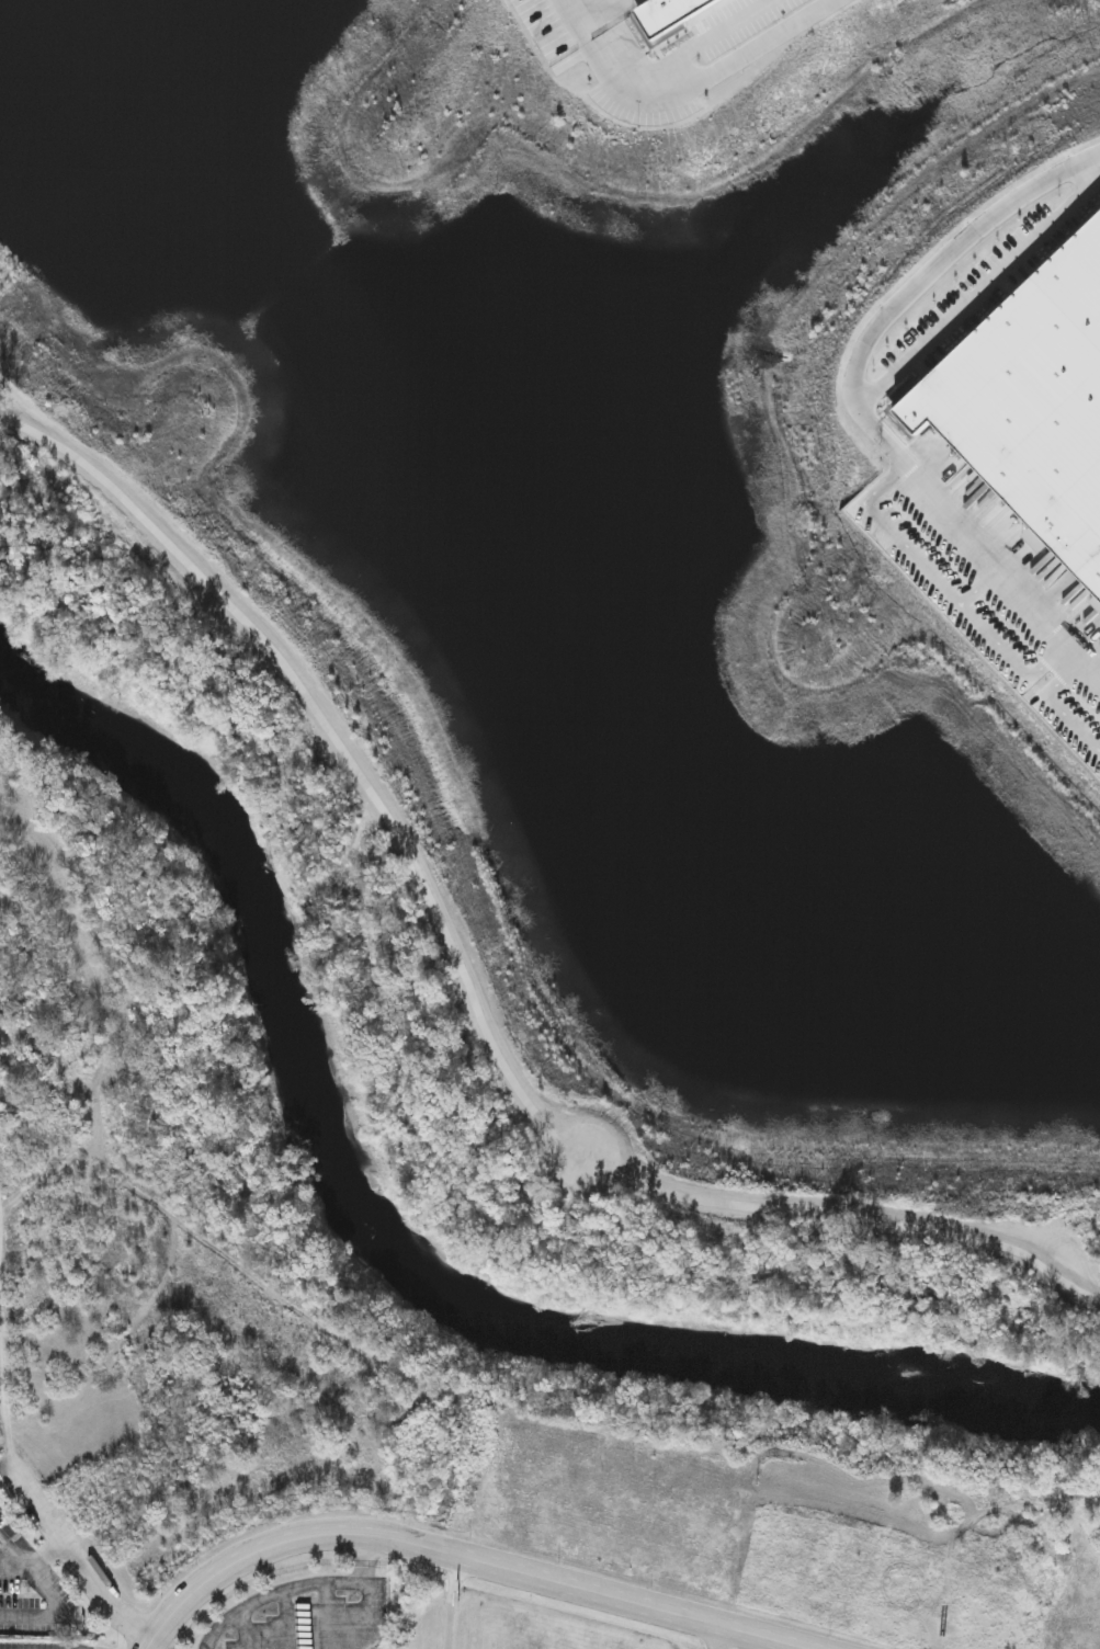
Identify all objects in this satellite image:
building: (671, 12)
road: (690, 77)
road: (993, 284)
road: (861, 394)
road: (474, 1020)
river: (382, 1278)
road: (14, 1551)
road: (48, 1553)
road: (461, 1558)
road: (363, 1561)
road: (453, 1576)
road: (311, 1585)
road: (107, 1593)
road: (63, 1614)
road: (450, 1622)
road: (718, 1638)

